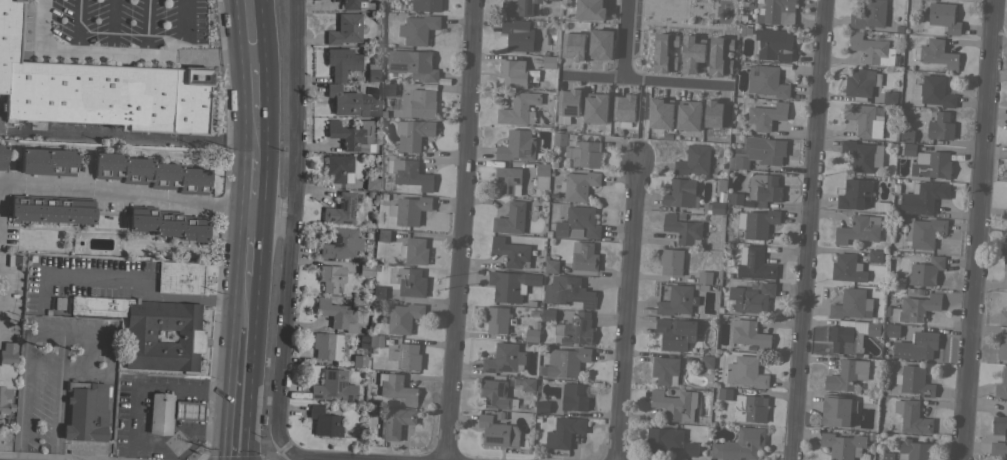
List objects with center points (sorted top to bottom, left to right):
building: (353, 4)
building: (425, 5)
building: (518, 7)
building: (584, 11)
building: (778, 11)
building: (869, 14)
building: (944, 16)
road: (73, 25)
road: (250, 25)
building: (345, 29)
building: (418, 29)
building: (518, 34)
building: (773, 44)
building: (594, 46)
building: (566, 48)
building: (873, 49)
building: (687, 52)
road: (120, 53)
building: (936, 54)
building: (711, 56)
building: (341, 62)
building: (549, 62)
road: (619, 62)
building: (413, 64)
rooftop solar panel: (397, 65)
building: (374, 72)
building: (513, 72)
road: (254, 79)
road: (661, 81)
building: (766, 81)
building: (861, 83)
building: (388, 88)
building: (99, 89)
building: (934, 91)
building: (889, 97)
building: (351, 102)
building: (418, 103)
building: (577, 107)
building: (519, 108)
building: (620, 109)
building: (653, 115)
building: (766, 115)
building: (710, 116)
building: (682, 117)
building: (865, 119)
building: (940, 126)
road: (256, 132)
building: (413, 133)
road: (128, 134)
building: (352, 135)
building: (907, 135)
building: (559, 136)
building: (517, 145)
building: (907, 148)
building: (759, 152)
building: (584, 154)
building: (862, 155)
building: (2, 156)
building: (693, 160)
building: (47, 161)
building: (931, 165)
building: (337, 167)
building: (542, 169)
building: (150, 173)
building: (409, 173)
building: (508, 180)
building: (371, 183)
building: (578, 185)
road: (254, 186)
building: (719, 186)
building: (764, 188)
building: (680, 192)
building: (855, 194)
building: (1006, 195)
road: (147, 197)
building: (923, 197)
building: (734, 198)
rooftop solar panel: (340, 204)
building: (718, 207)
building: (51, 209)
building: (340, 209)
rooftop solar panel: (347, 209)
building: (409, 209)
building: (511, 218)
rooftop solar panel: (328, 219)
rooftop solar panel: (343, 221)
building: (167, 223)
building: (578, 223)
building: (759, 223)
road: (293, 225)
building: (682, 228)
building: (858, 229)
road: (460, 230)
road: (810, 230)
road: (979, 230)
building: (923, 231)
building: (382, 235)
building: (1005, 240)
road: (251, 244)
building: (341, 244)
building: (414, 250)
building: (511, 252)
building: (875, 255)
building: (584, 256)
building: (671, 261)
building: (754, 263)
building: (1005, 263)
building: (551, 265)
building: (847, 268)
building: (365, 269)
building: (926, 271)
road: (139, 274)
building: (180, 277)
building: (330, 277)
building: (704, 277)
building: (408, 281)
building: (507, 286)
road: (248, 288)
building: (378, 292)
building: (567, 292)
building: (751, 298)
building: (676, 300)
building: (852, 304)
building: (916, 307)
road: (628, 308)
building: (336, 314)
building: (548, 314)
road: (246, 315)
building: (403, 317)
building: (1003, 317)
building: (497, 319)
building: (873, 328)
building: (576, 329)
building: (150, 330)
building: (893, 330)
building: (677, 333)
road: (93, 334)
building: (750, 334)
building: (532, 335)
building: (844, 339)
building: (375, 340)
building: (329, 345)
building: (917, 345)
building: (1001, 345)
road: (58, 351)
rooftop solar panel: (401, 351)
building: (407, 356)
building: (505, 358)
road: (243, 359)
building: (358, 361)
building: (706, 361)
building: (565, 362)
rooftop solar panel: (505, 368)
building: (665, 369)
building: (746, 371)
building: (6, 374)
building: (847, 375)
building: (914, 380)
road: (150, 384)
building: (528, 384)
building: (1002, 385)
building: (333, 386)
building: (396, 388)
building: (496, 394)
building: (573, 397)
building: (675, 404)
building: (744, 405)
building: (542, 406)
building: (837, 410)
building: (85, 411)
building: (187, 411)
gas station: (159, 413)
building: (158, 414)
road: (240, 415)
building: (912, 416)
building: (324, 422)
building: (394, 422)
building: (999, 425)
building: (498, 432)
building: (564, 432)
road: (164, 437)
building: (664, 439)
road: (206, 440)
building: (740, 445)
building: (843, 445)
building: (691, 449)
building: (913, 449)
building: (999, 449)
road: (238, 451)
building: (888, 456)
road: (298, 457)

